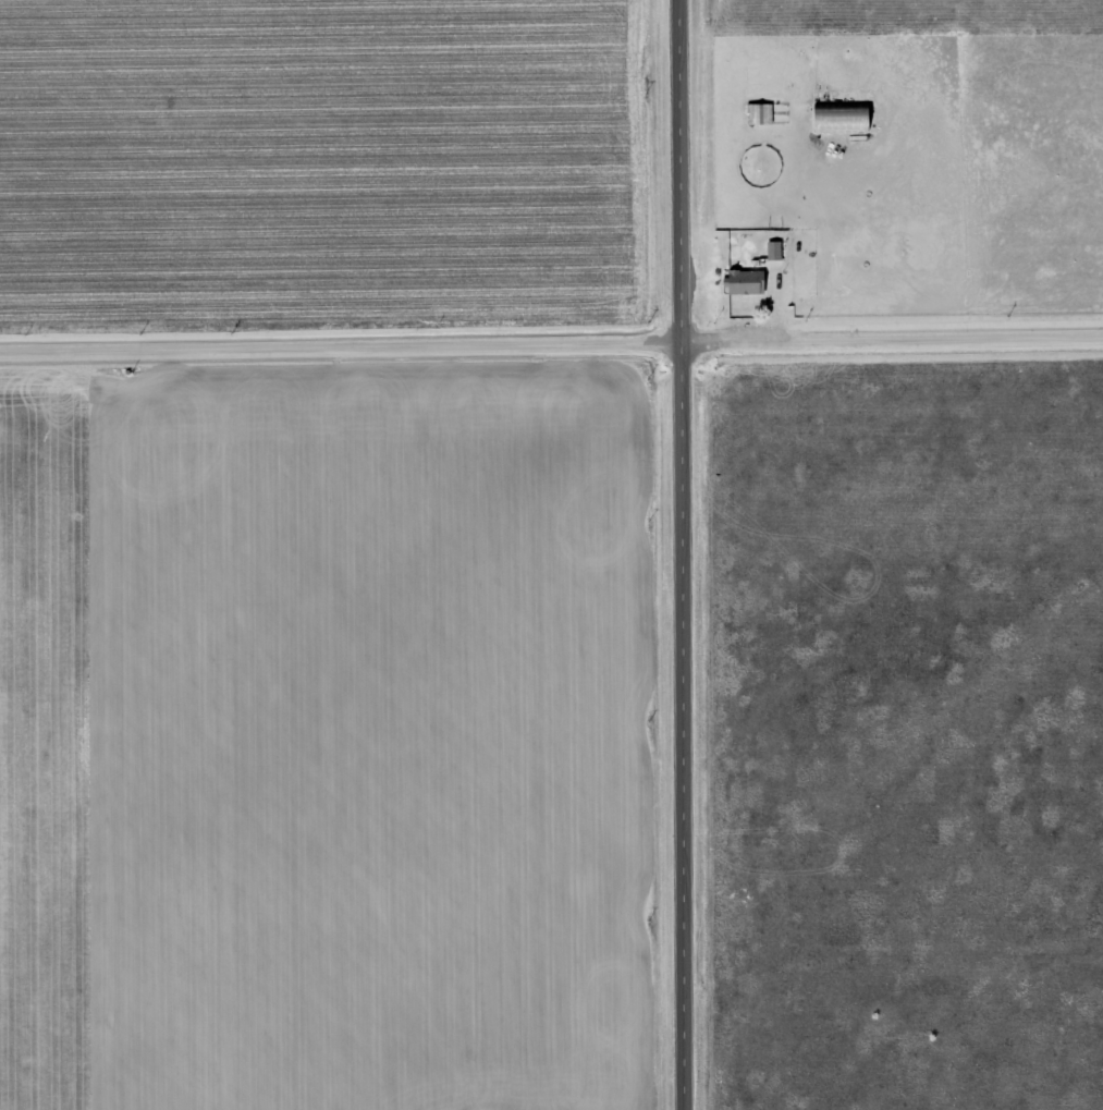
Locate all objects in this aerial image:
building: (755, 114)
building: (836, 118)
building: (739, 282)
road: (551, 385)
road: (714, 554)

